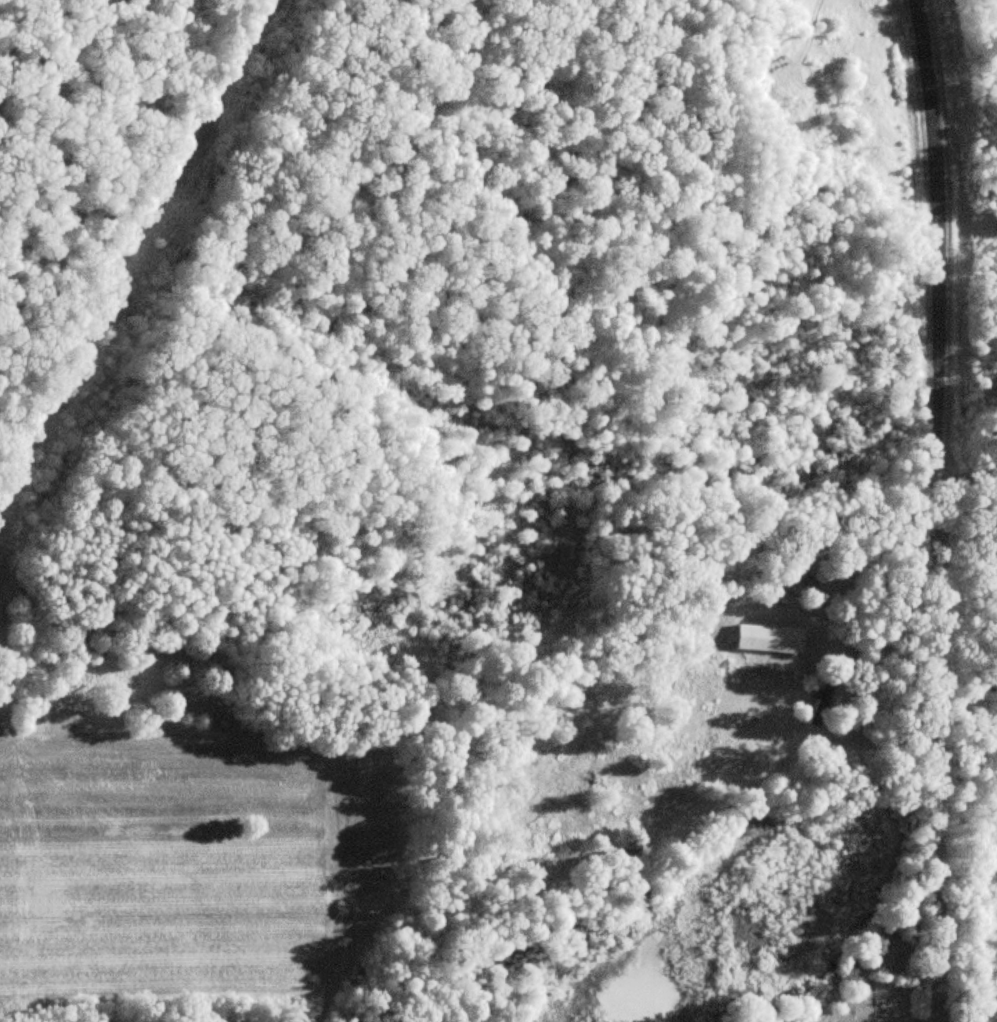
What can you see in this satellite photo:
road: (933, 429)
building: (768, 640)
road: (939, 941)

